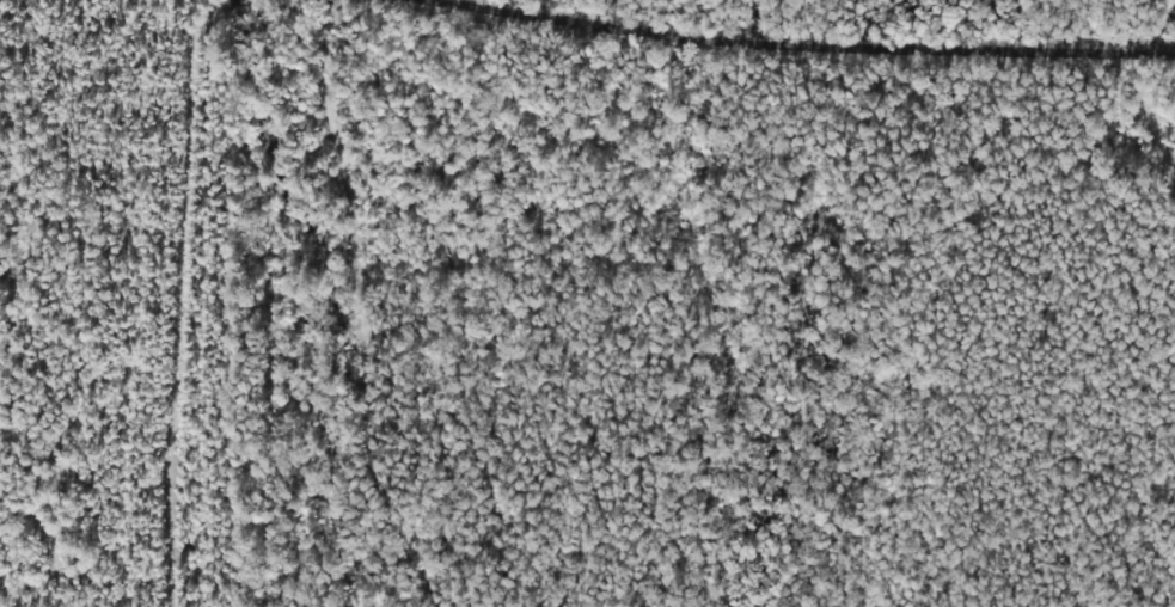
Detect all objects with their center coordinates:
road: (934, 14)

